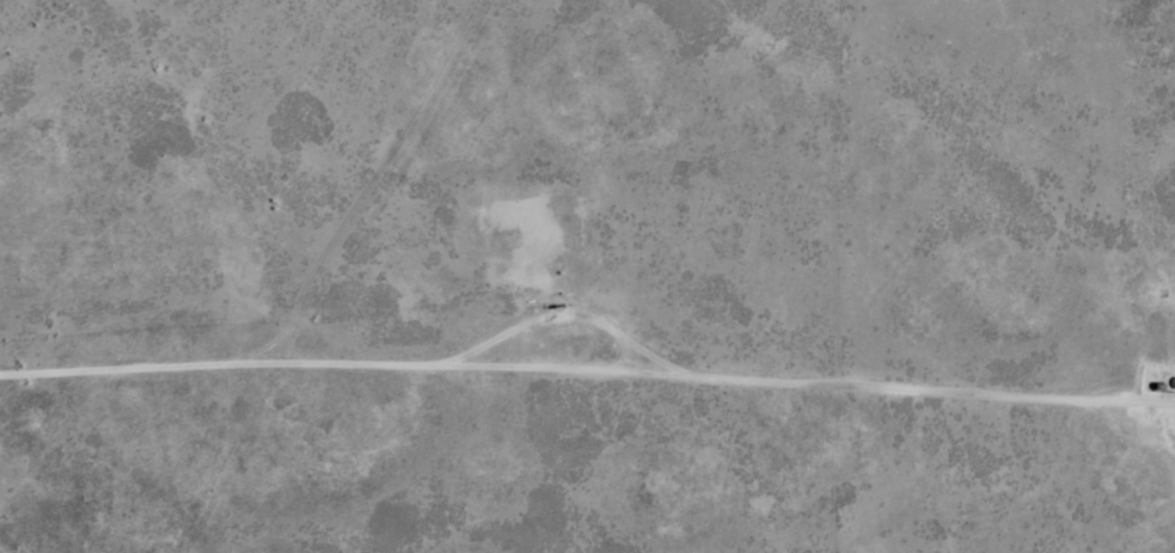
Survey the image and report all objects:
road: (259, 277)
road: (146, 468)

